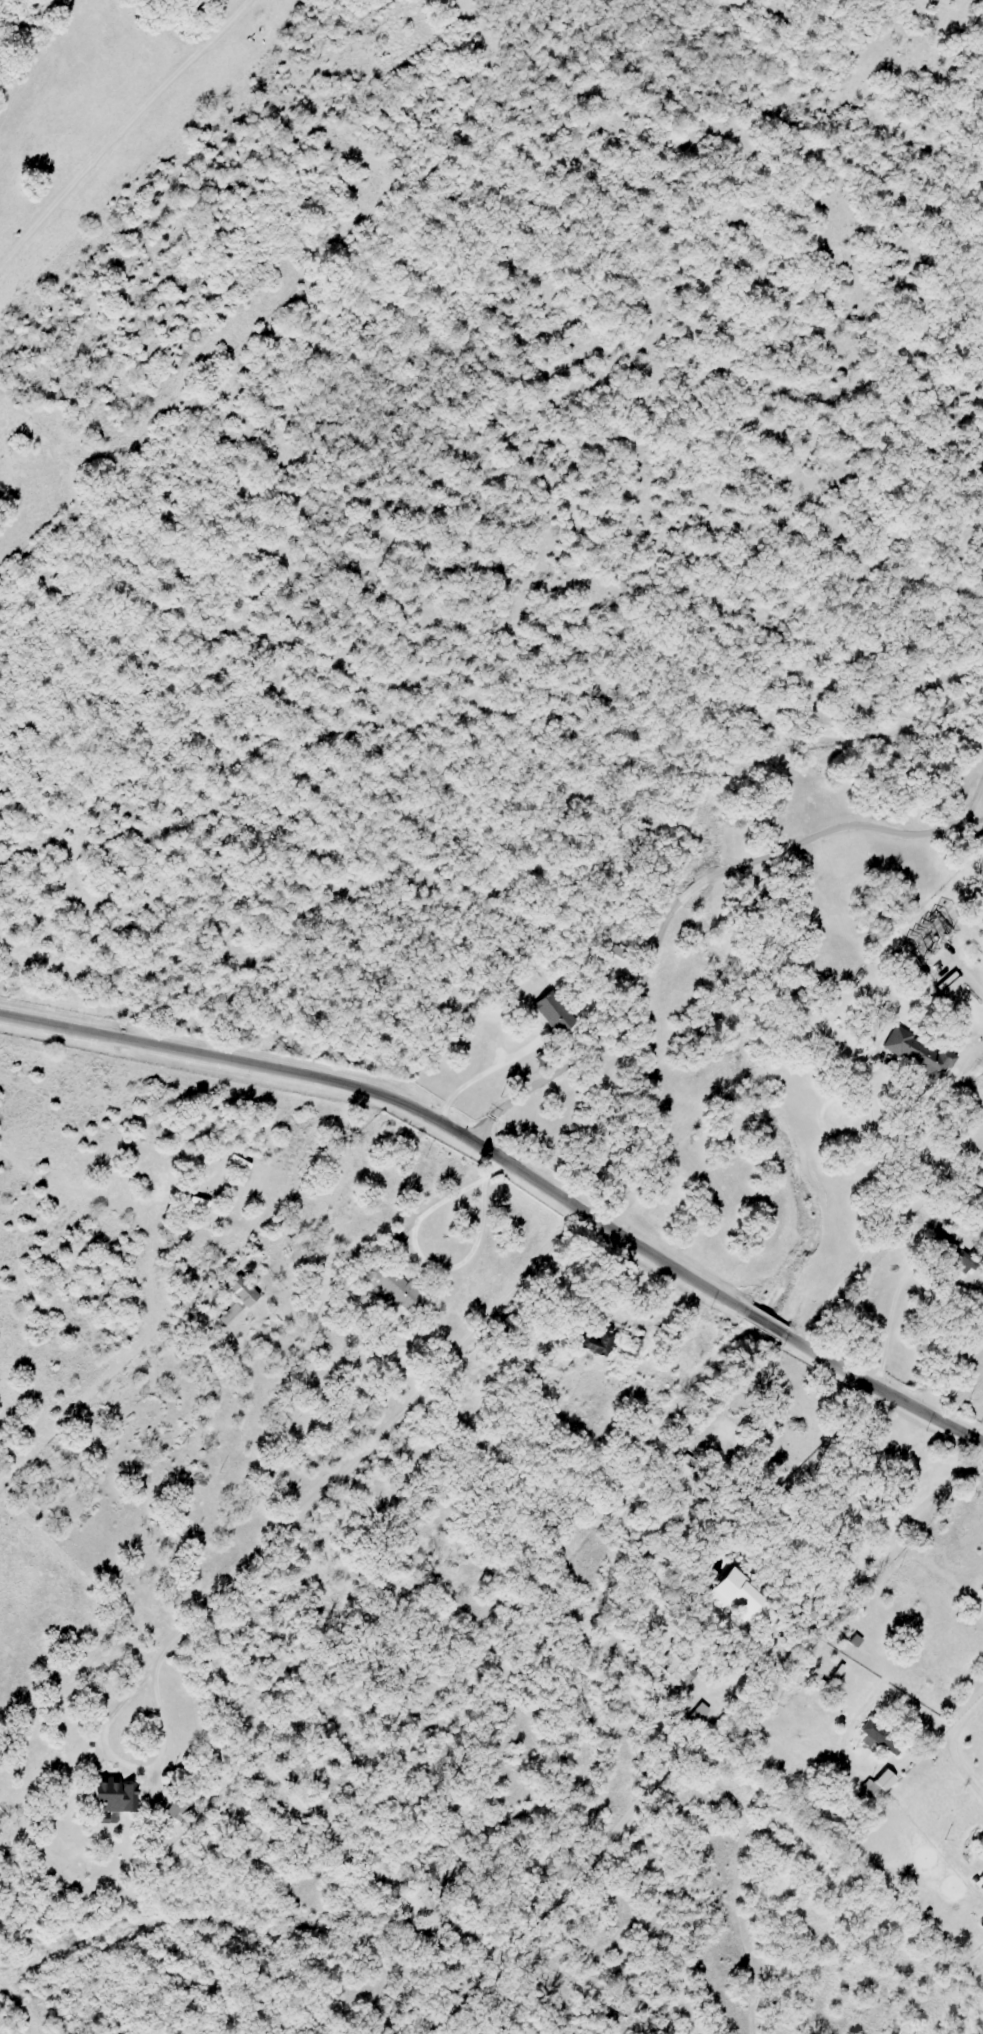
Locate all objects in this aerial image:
road: (120, 127)
road: (683, 896)
building: (916, 952)
building: (554, 1012)
building: (917, 1052)
building: (235, 1163)
road: (513, 1168)
building: (248, 1190)
building: (204, 1208)
building: (260, 1237)
building: (939, 1237)
building: (285, 1250)
building: (391, 1287)
building: (237, 1298)
building: (591, 1343)
road: (892, 1542)
building: (756, 1604)
building: (855, 1642)
building: (698, 1712)
road: (964, 1715)
building: (880, 1737)
road: (847, 1743)
building: (867, 1793)
building: (113, 1795)
building: (176, 1809)
building: (102, 1818)
building: (981, 1879)

